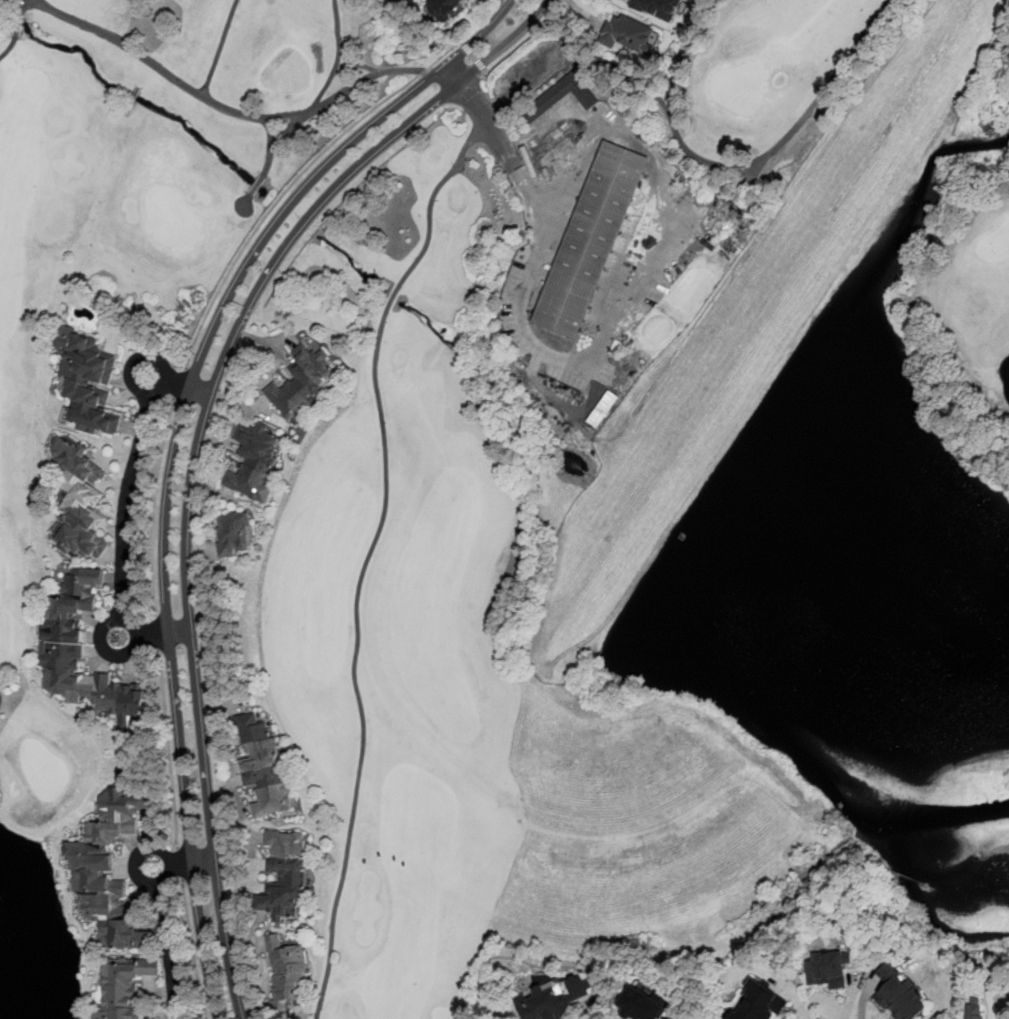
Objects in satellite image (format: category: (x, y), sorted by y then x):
road: (516, 3)
road: (22, 7)
building: (444, 7)
building: (657, 8)
building: (627, 34)
road: (526, 38)
road: (9, 47)
road: (473, 56)
road: (164, 71)
road: (330, 84)
road: (344, 91)
building: (564, 95)
road: (569, 109)
road: (259, 117)
road: (503, 145)
road: (696, 156)
road: (294, 181)
road: (430, 206)
road: (239, 210)
building: (590, 240)
road: (632, 273)
building: (87, 380)
road: (180, 384)
building: (305, 384)
road: (188, 448)
park: (560, 456)
building: (255, 461)
building: (80, 500)
road: (152, 508)
road: (127, 509)
building: (232, 534)
road: (157, 635)
building: (79, 649)
road: (354, 660)
road: (169, 751)
building: (263, 767)
road: (179, 864)
road: (179, 865)
building: (107, 870)
building: (286, 874)
road: (168, 943)
road: (193, 949)
building: (828, 968)
building: (287, 974)
building: (123, 985)
building: (900, 994)
building: (555, 998)
building: (758, 1002)
building: (639, 1004)
building: (974, 1013)

